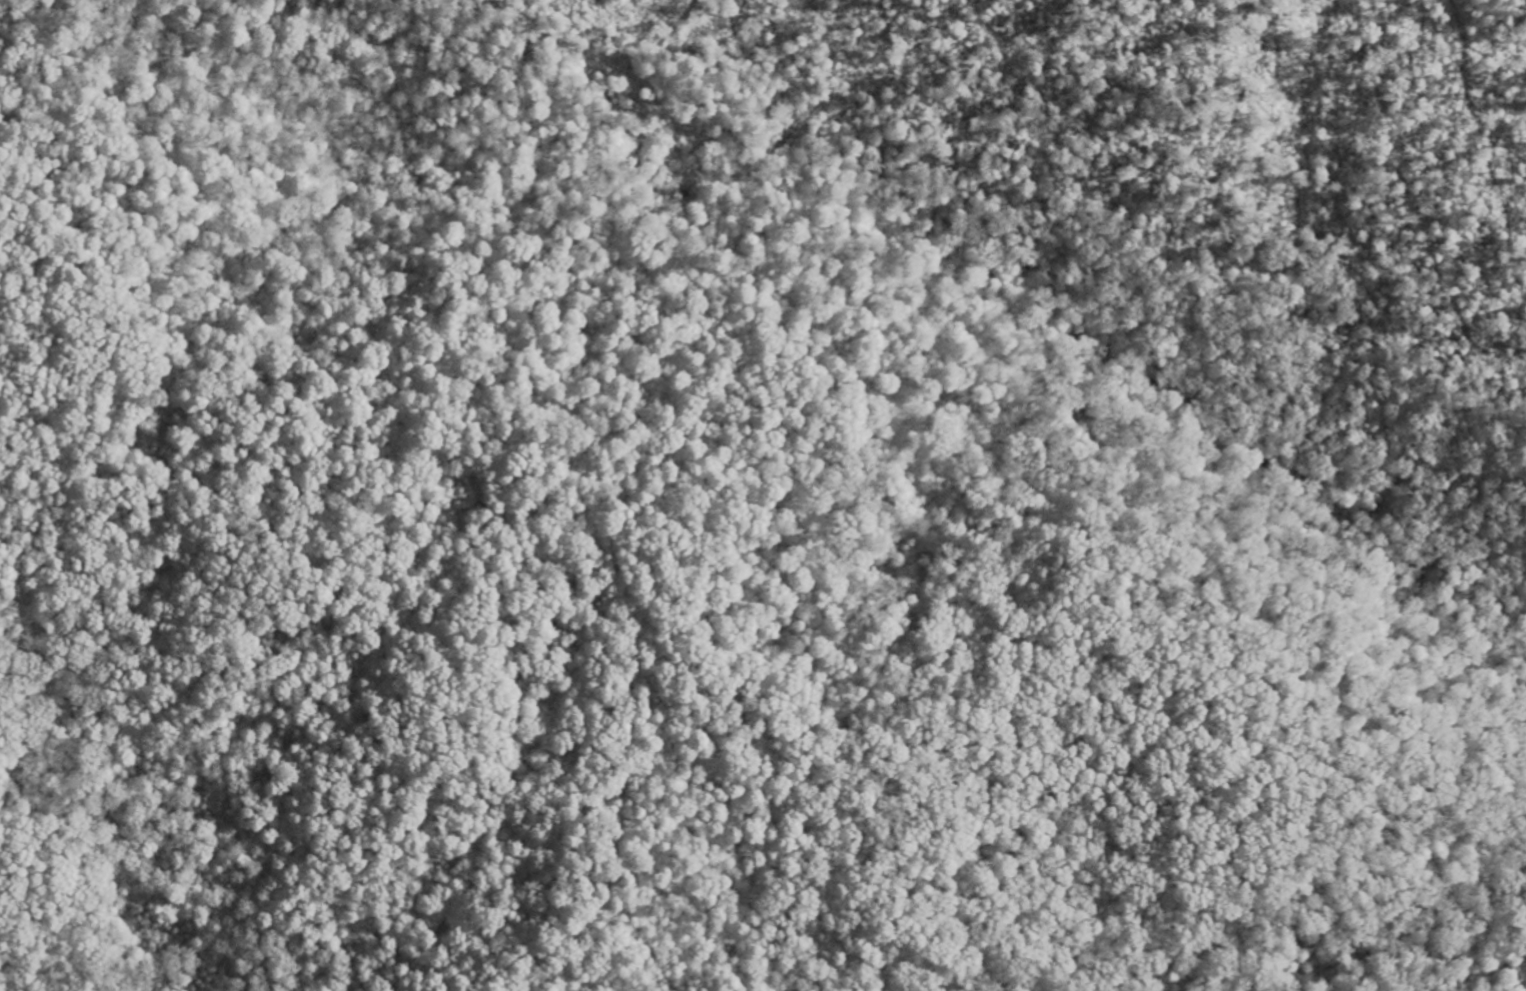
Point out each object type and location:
road: (530, 528)

